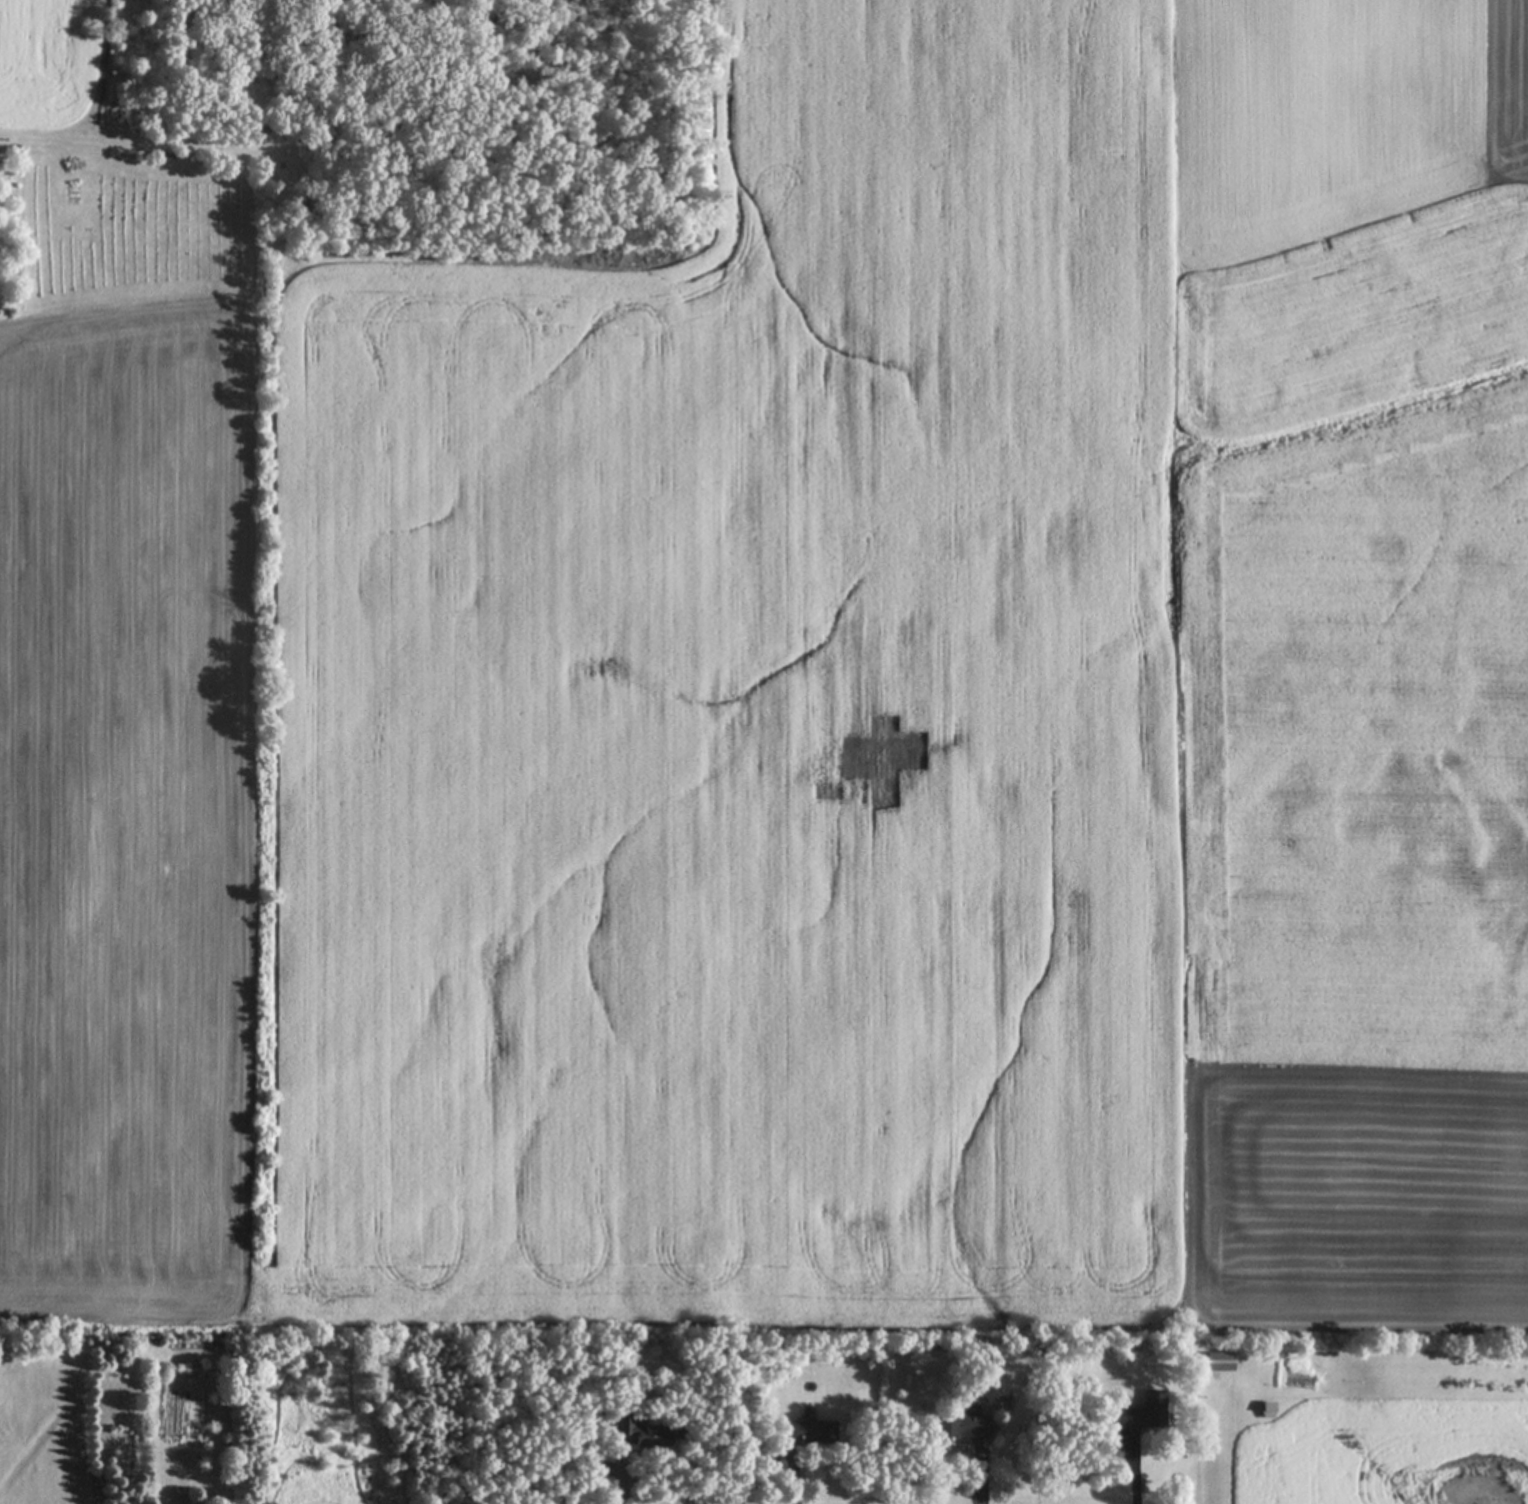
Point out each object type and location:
building: (1220, 1362)
building: (1145, 1413)
building: (963, 1424)
building: (644, 1432)
building: (809, 1432)

